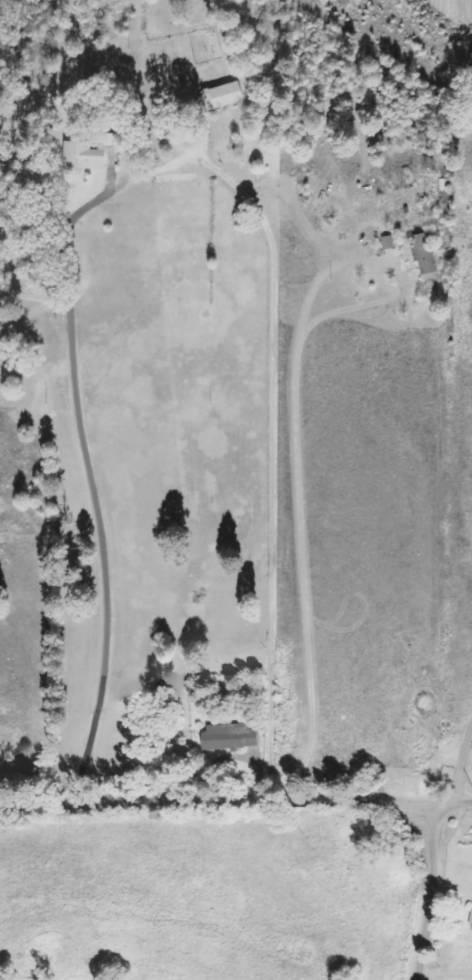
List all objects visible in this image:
building: (226, 94)
building: (89, 154)
road: (166, 163)
building: (388, 242)
building: (423, 254)
building: (232, 737)
road: (300, 802)
road: (448, 804)
building: (471, 928)

